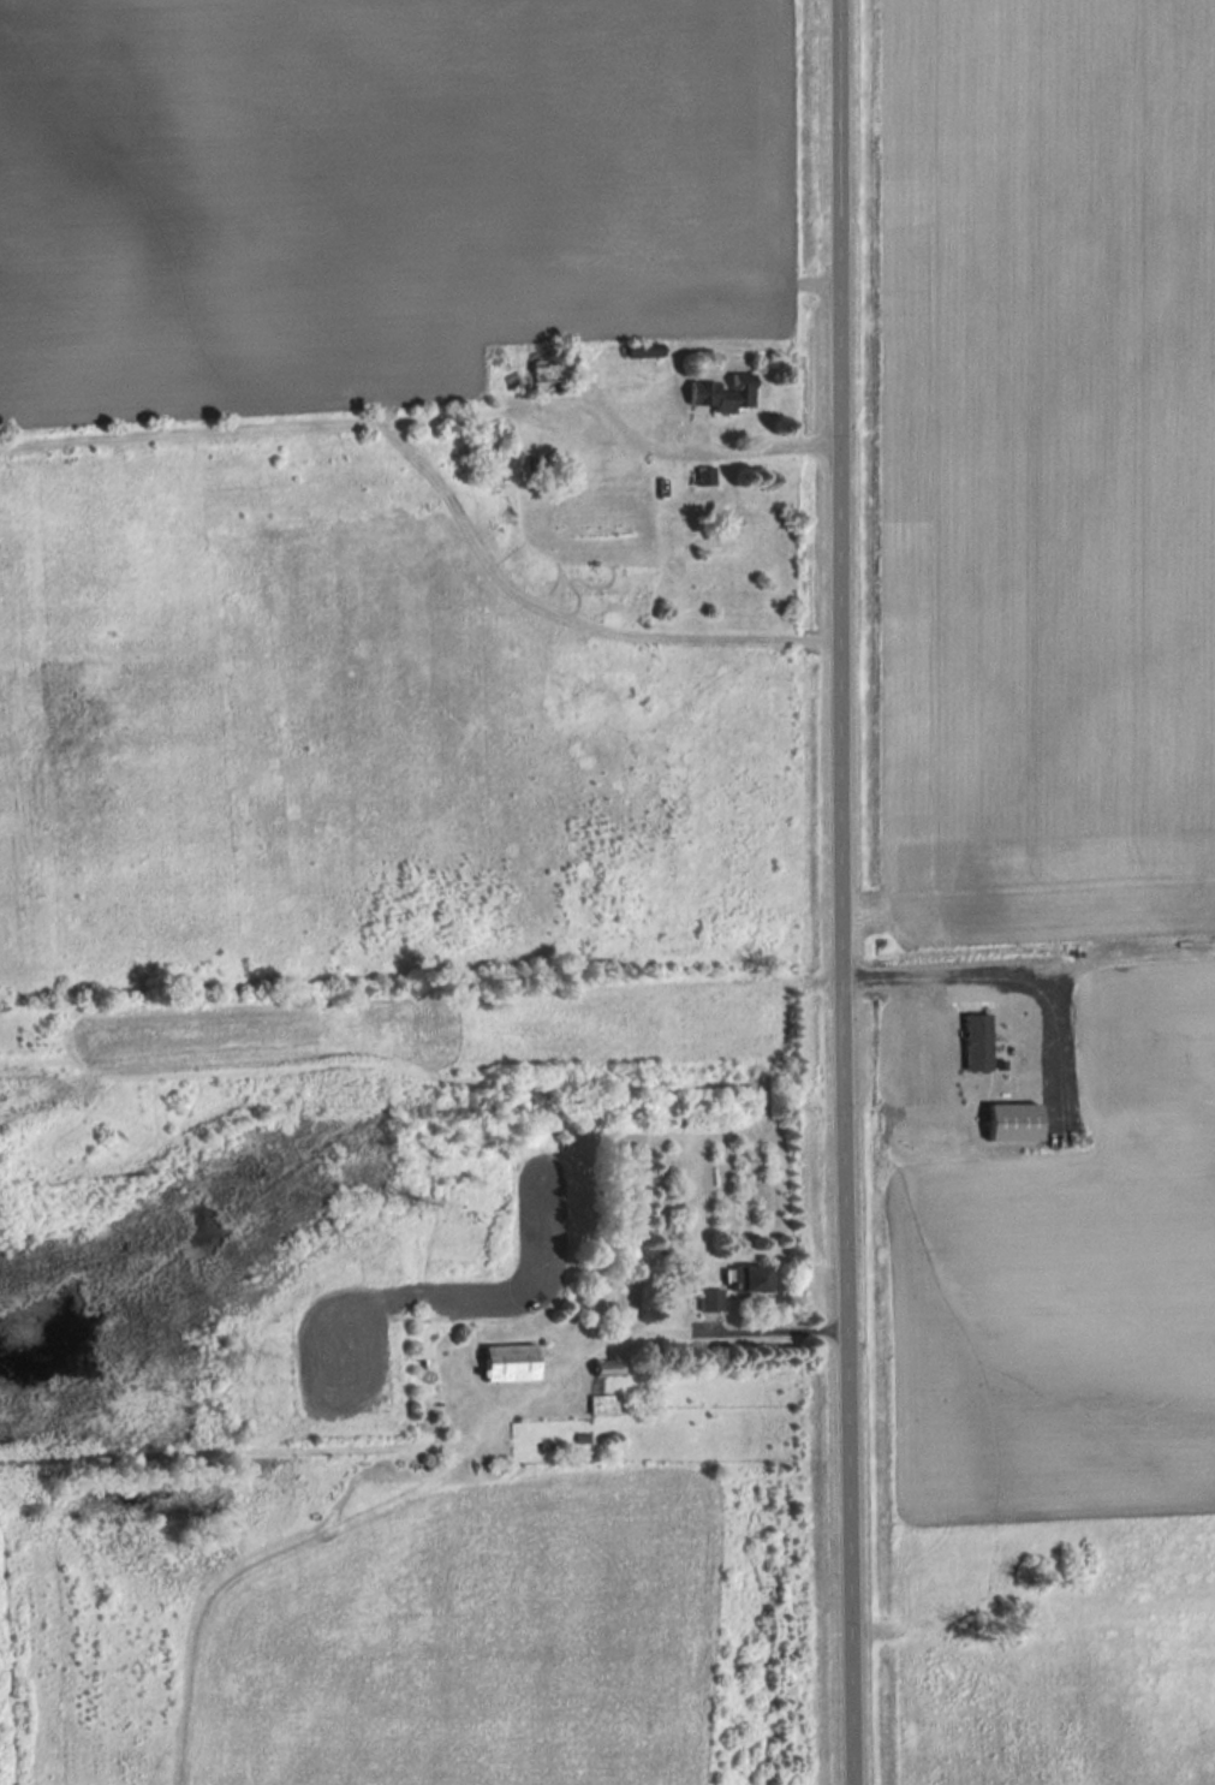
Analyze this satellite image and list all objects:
building: (550, 373)
building: (739, 397)
building: (707, 478)
road: (841, 892)
building: (751, 1280)
building: (711, 1302)
building: (512, 1364)
building: (607, 1369)
building: (604, 1405)

